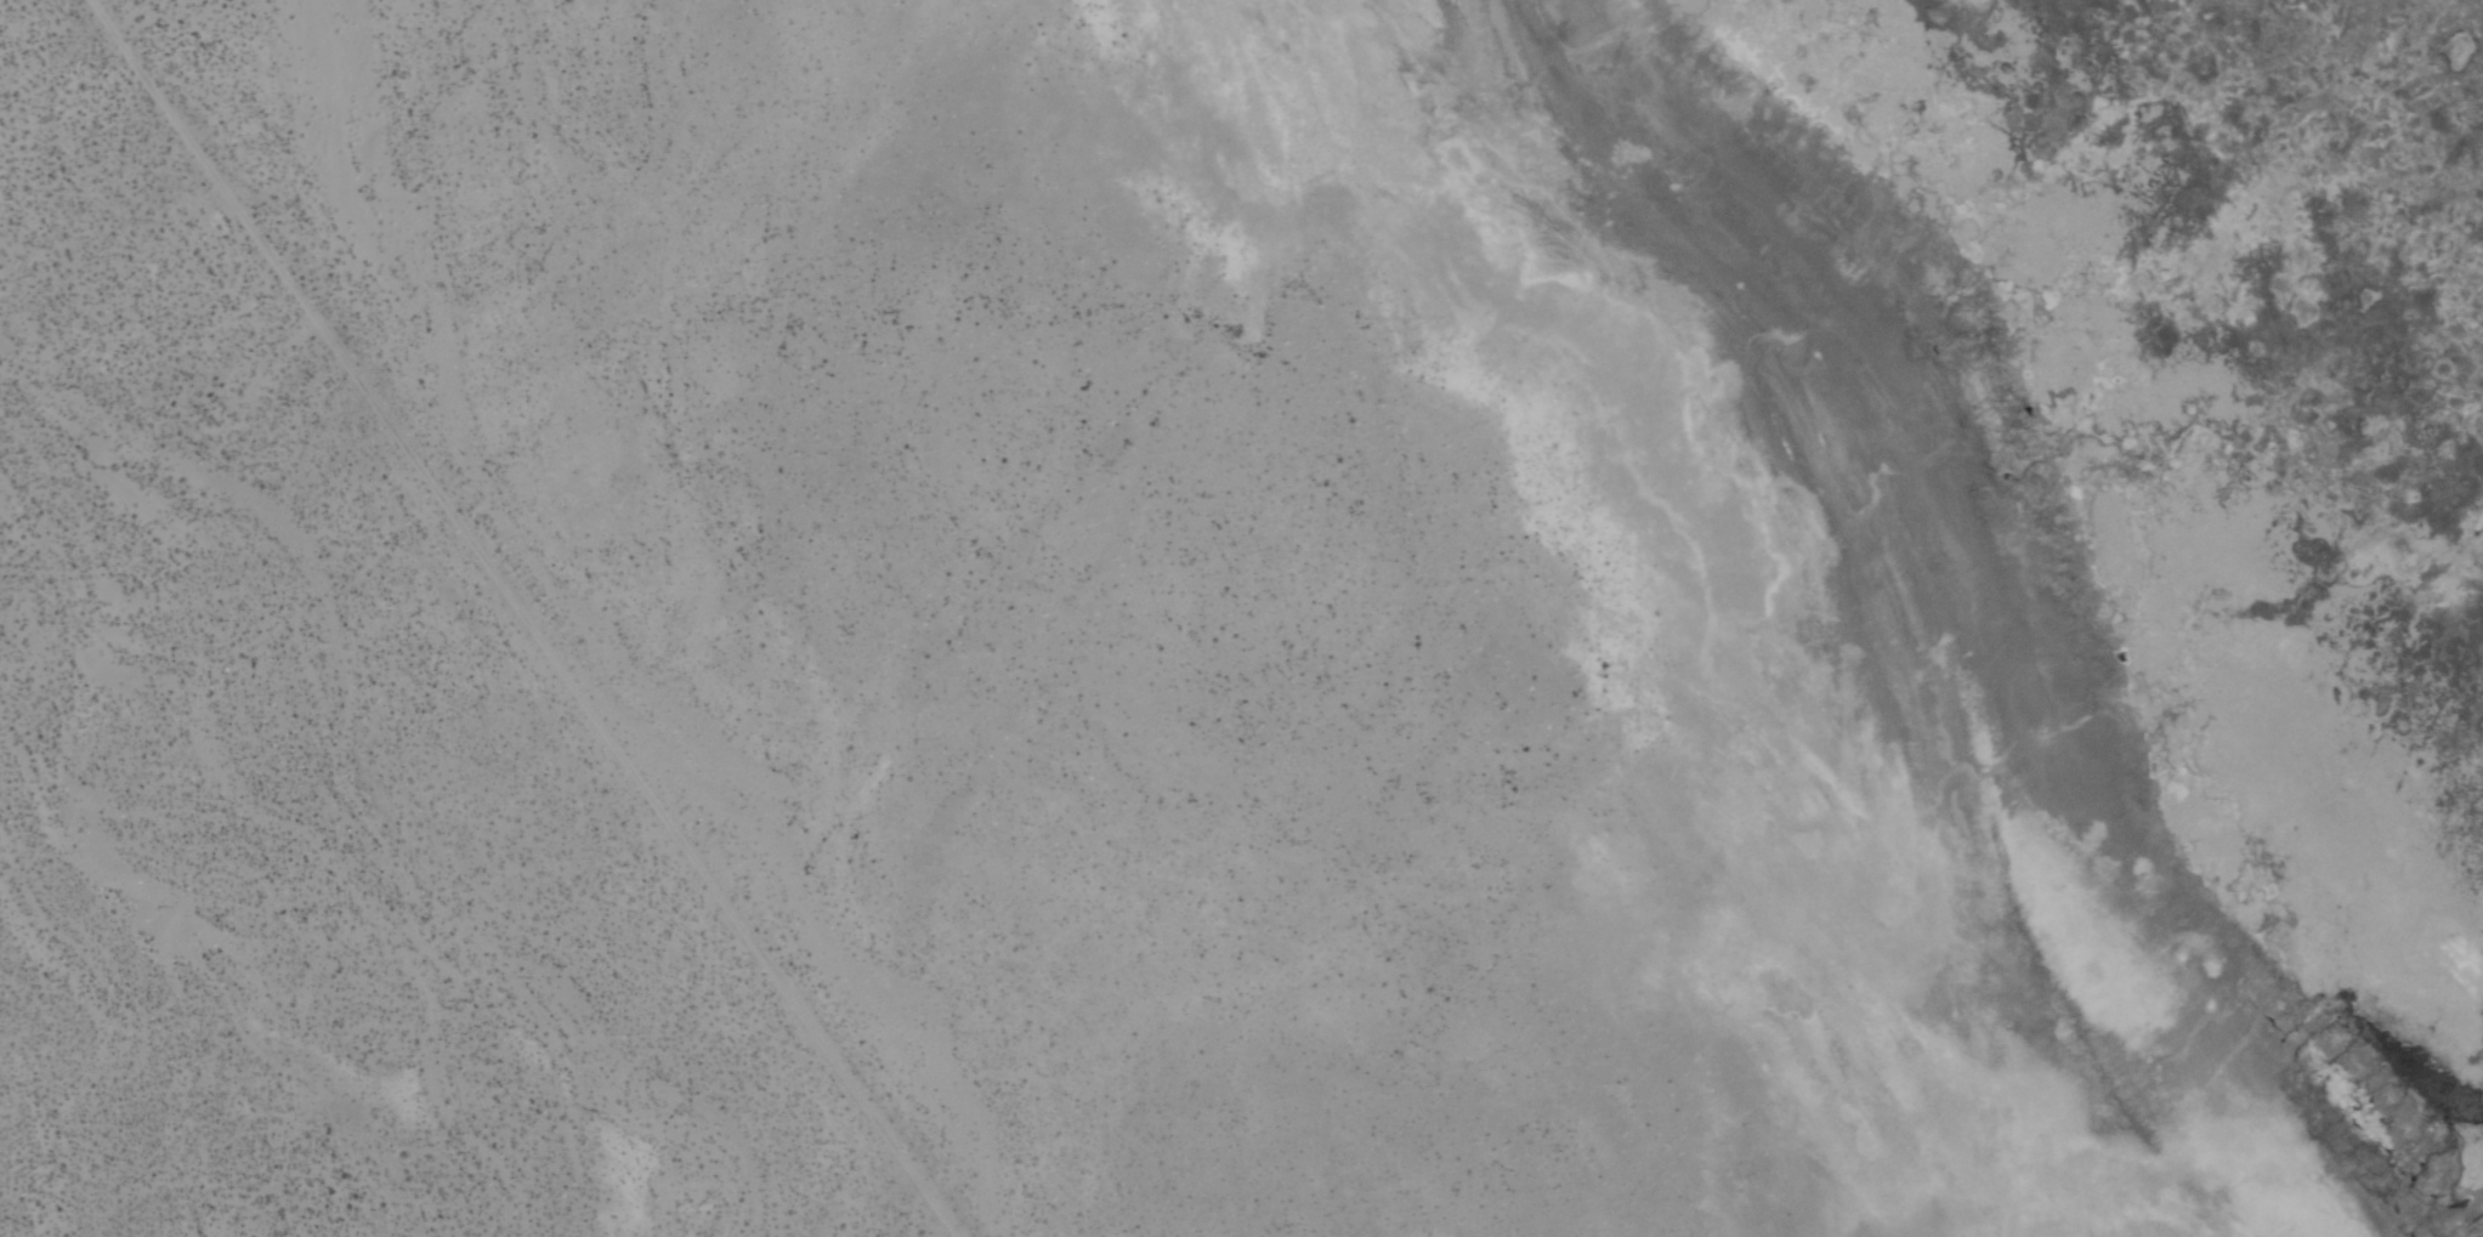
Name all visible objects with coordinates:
road: (514, 617)

